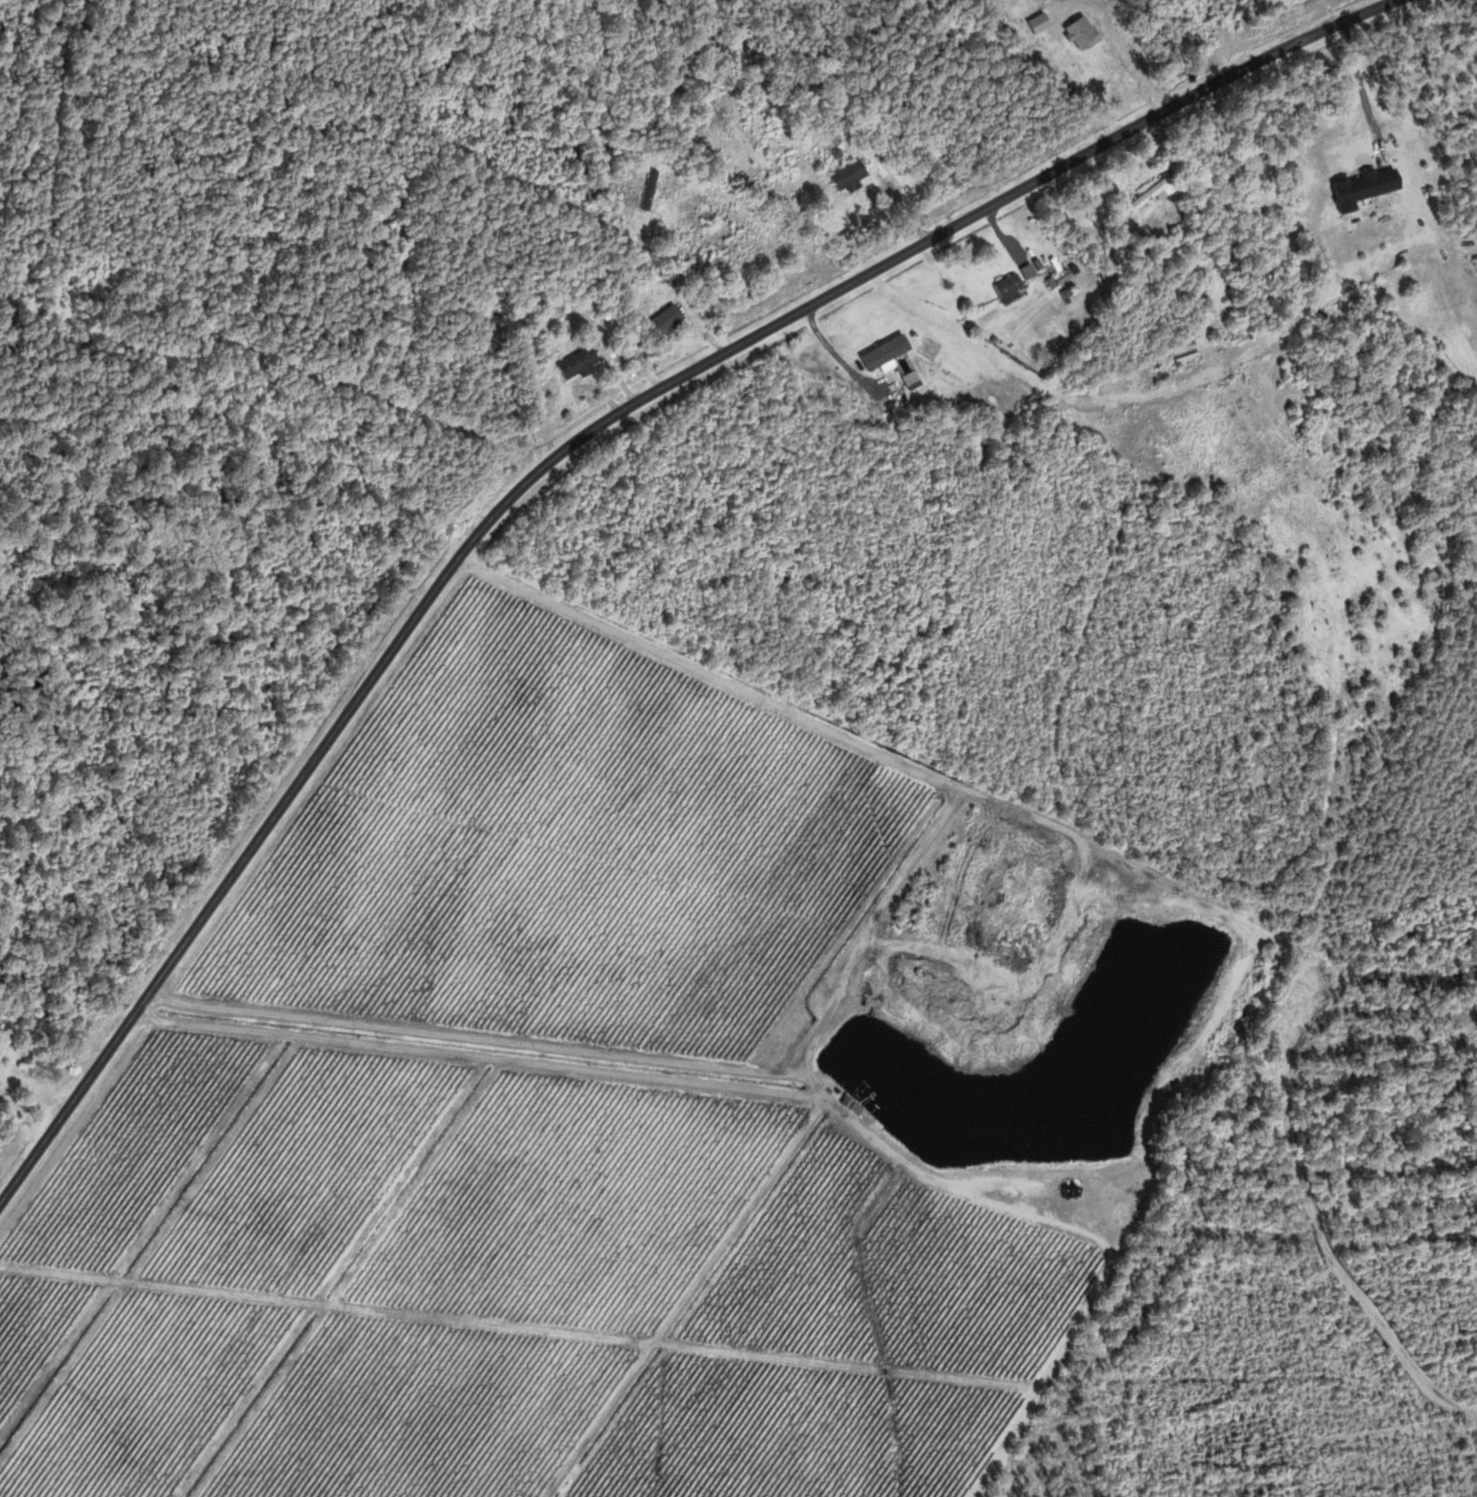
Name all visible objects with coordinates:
building: (1078, 32)
building: (851, 173)
building: (1361, 186)
building: (650, 187)
building: (1150, 193)
building: (1007, 291)
building: (665, 322)
building: (575, 366)
road: (565, 451)
road: (260, 473)
building: (47, 1070)
building: (849, 1108)

